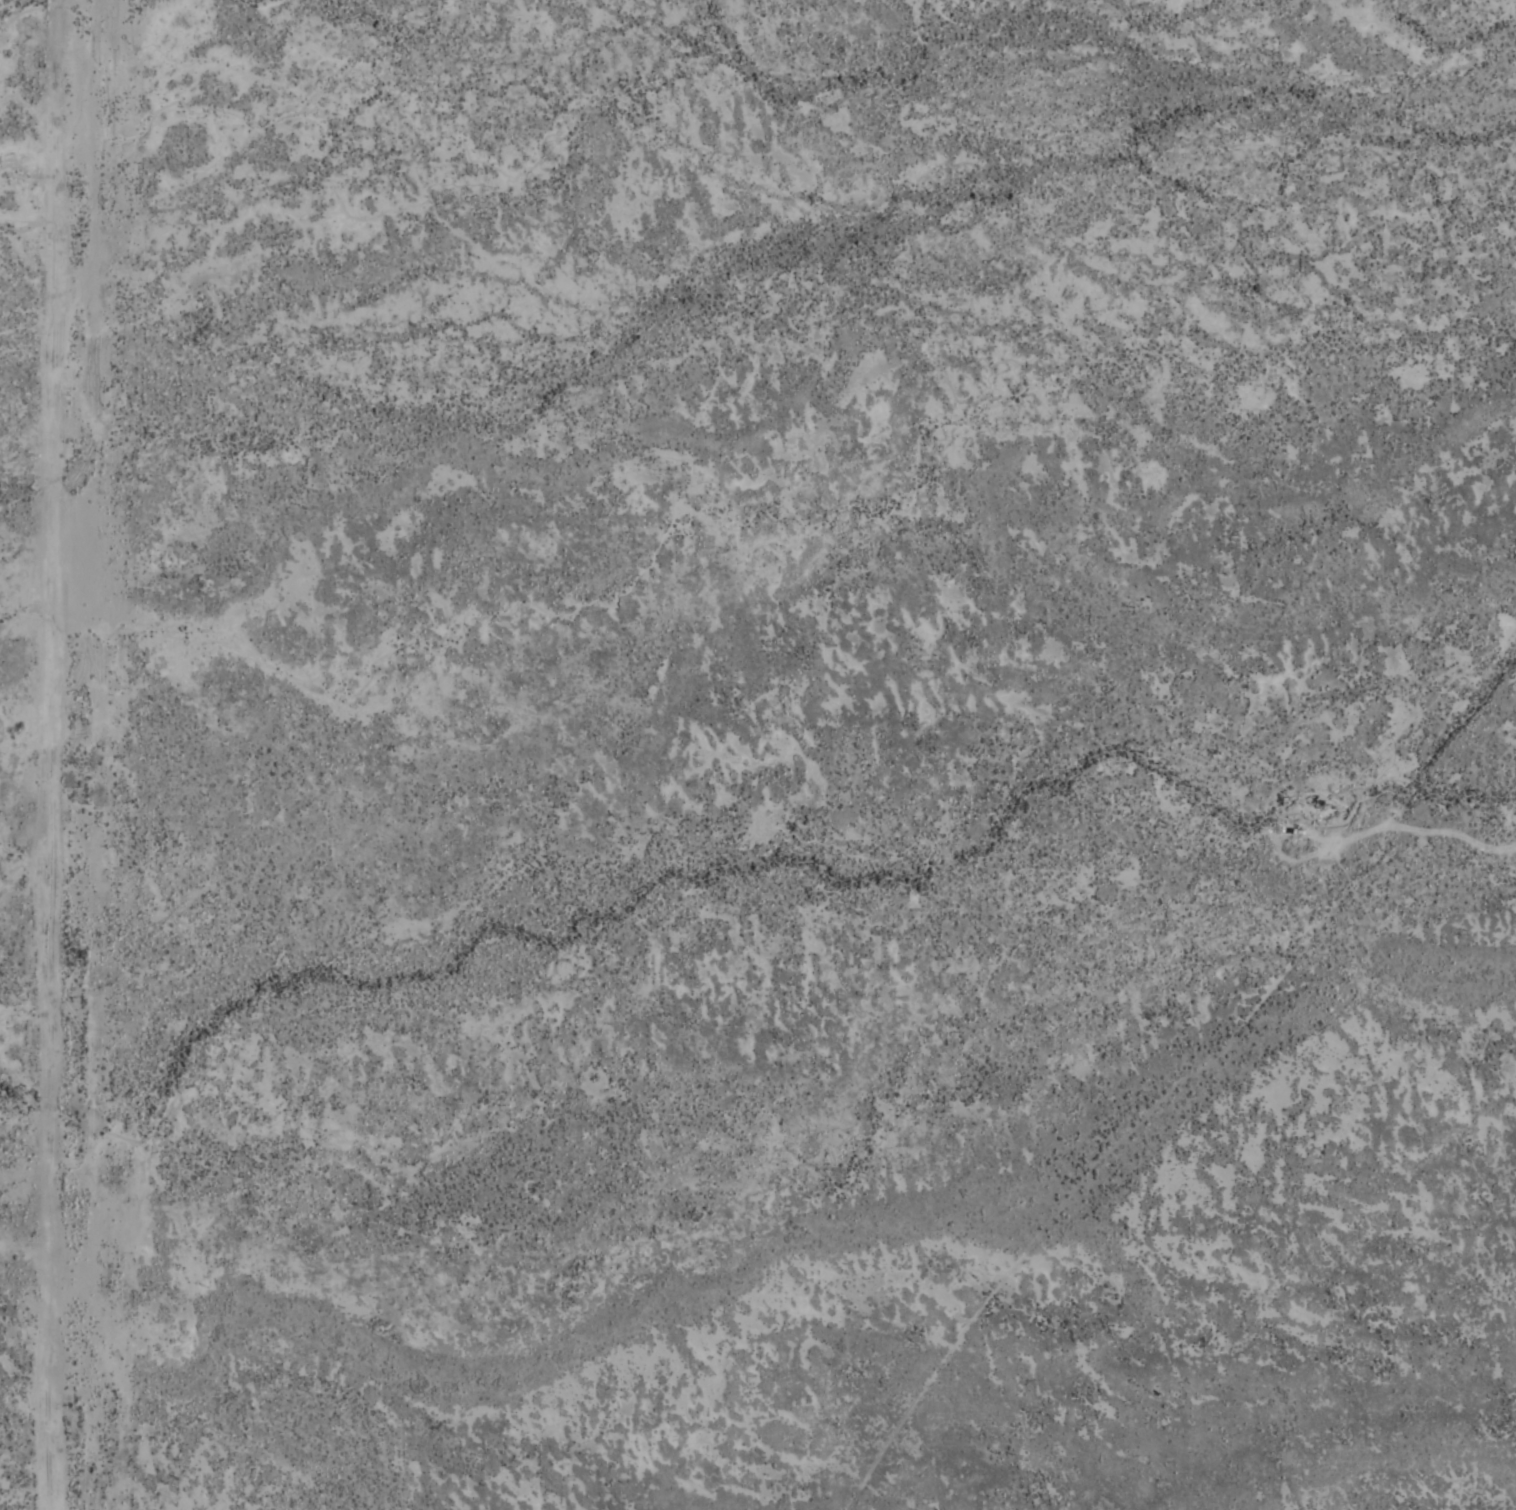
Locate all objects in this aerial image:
road: (41, 210)
road: (74, 754)

